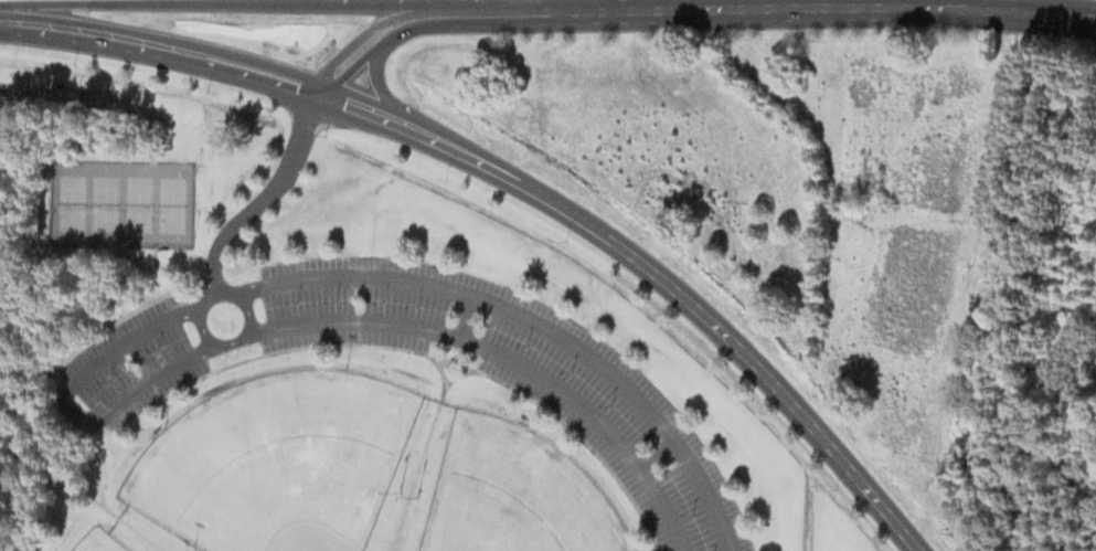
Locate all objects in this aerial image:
road: (585, 4)
road: (693, 8)
road: (255, 12)
road: (518, 182)
road: (265, 198)
park: (72, 202)
park: (105, 202)
park: (138, 203)
park: (171, 204)
road: (467, 315)
road: (532, 320)
road: (213, 341)
road: (329, 343)
road: (508, 356)
parking lot: (136, 362)
parking lot: (517, 372)
road: (444, 388)
road: (65, 404)
road: (657, 454)
park: (277, 462)
road: (416, 469)
road: (98, 477)
park: (515, 494)
park: (98, 541)

